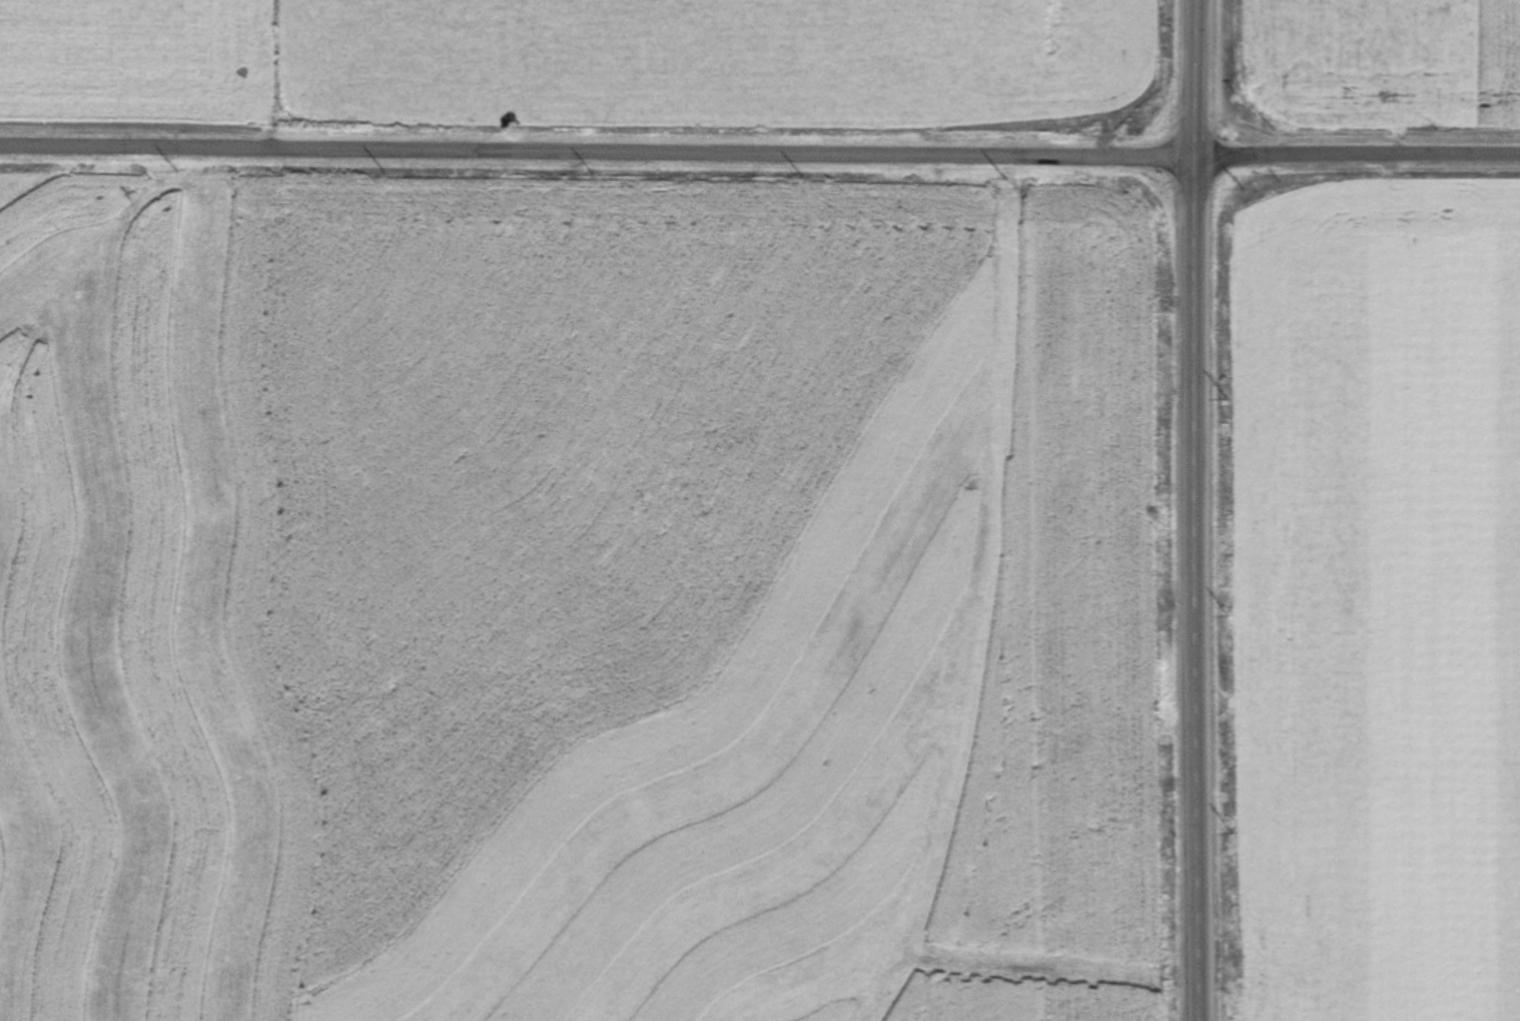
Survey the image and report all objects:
road: (1359, 170)
road: (599, 171)
road: (1199, 510)

